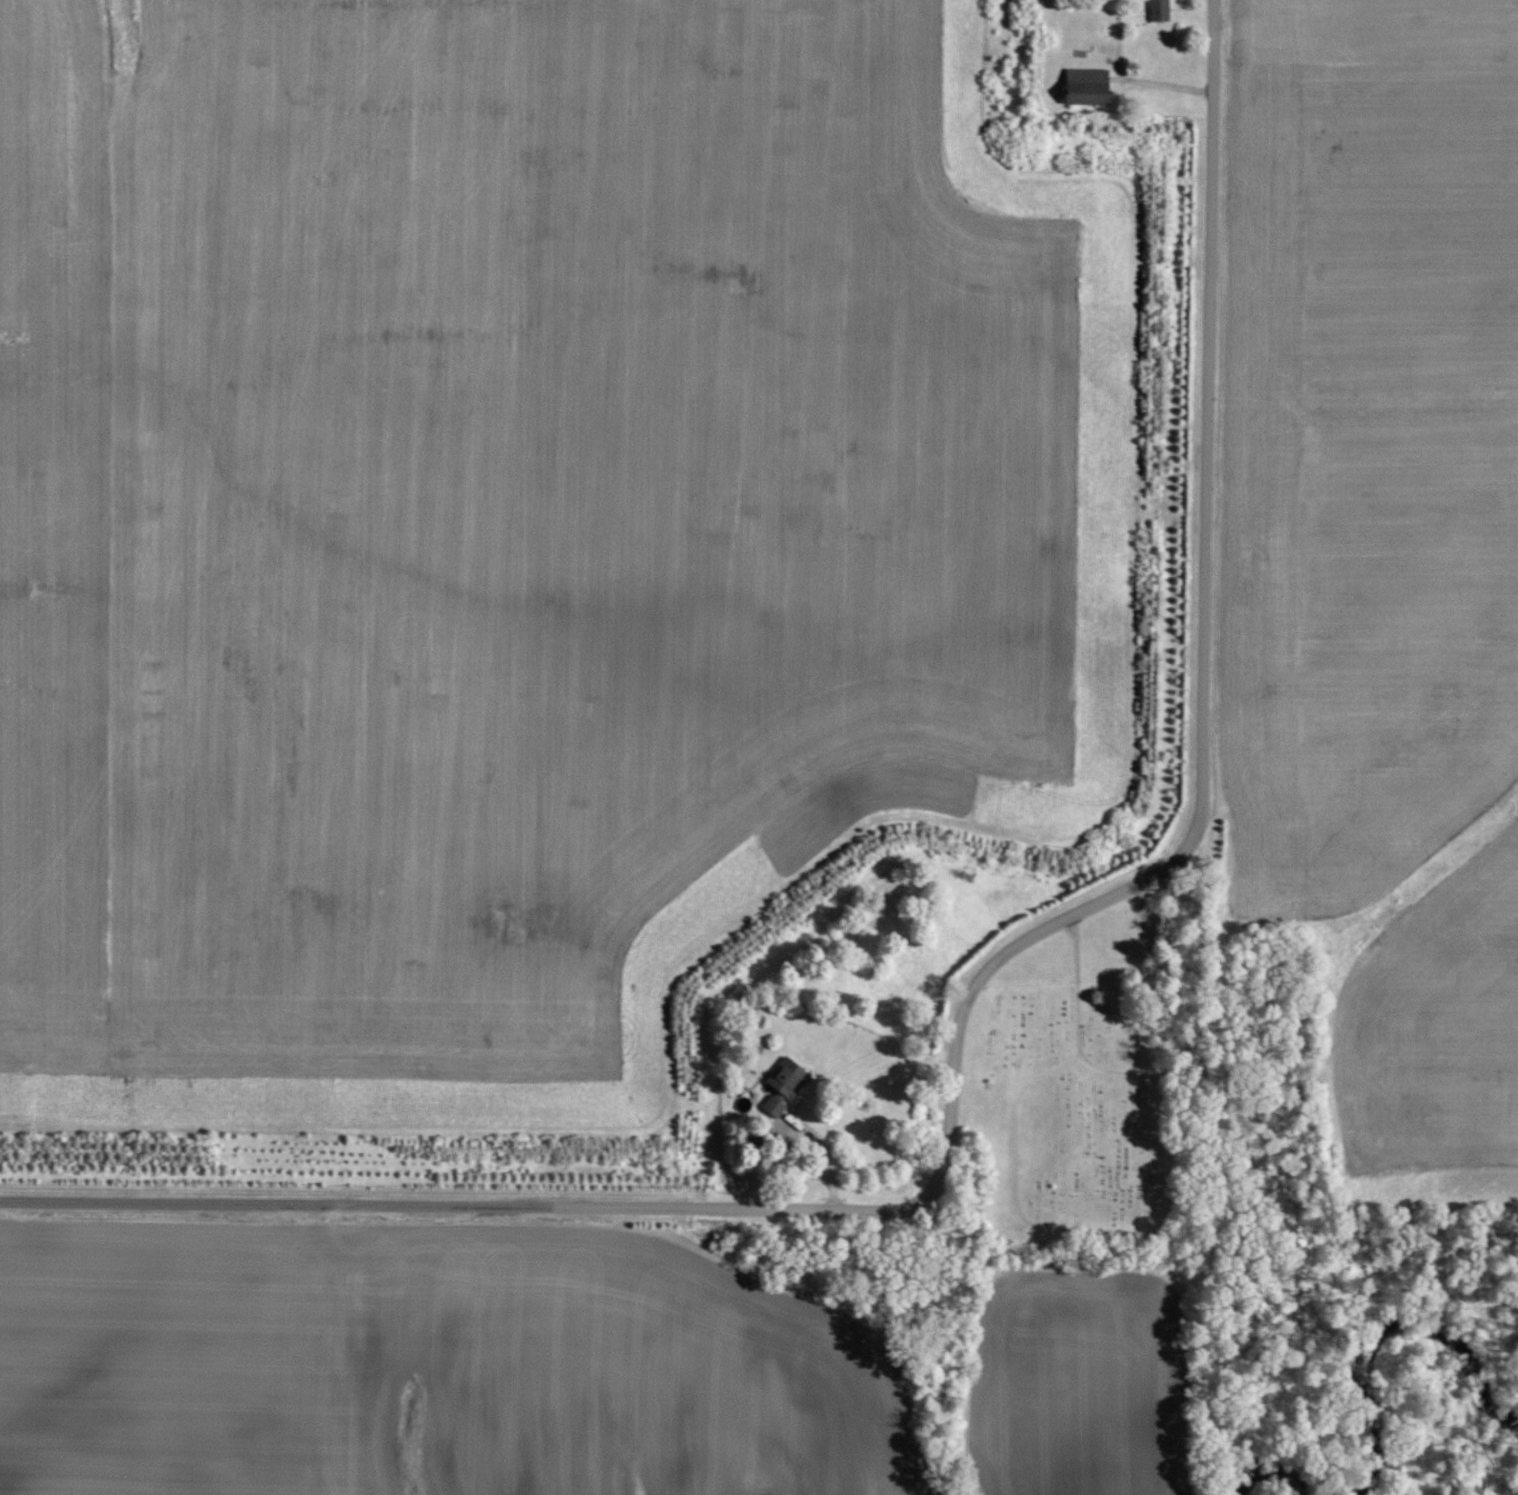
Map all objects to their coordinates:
building: (1156, 9)
building: (1082, 86)
road: (1188, 441)
road: (968, 990)
road: (461, 1198)

